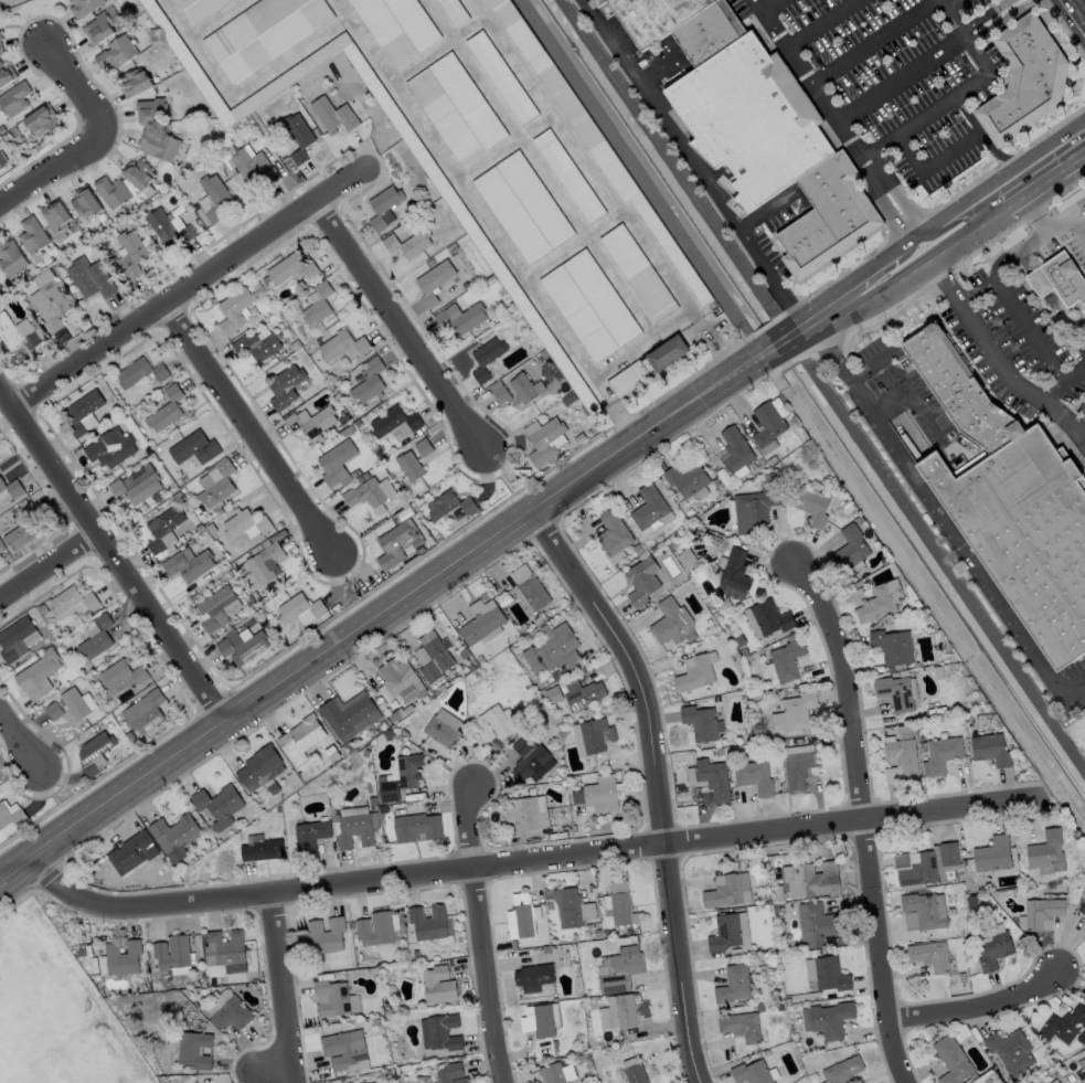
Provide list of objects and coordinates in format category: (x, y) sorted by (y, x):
road: (769, 3)
road: (951, 3)
building: (83, 6)
building: (198, 8)
building: (454, 10)
road: (1074, 13)
road: (980, 17)
road: (953, 19)
road: (1003, 20)
road: (819, 21)
building: (97, 25)
building: (397, 26)
building: (262, 33)
building: (0, 35)
building: (0, 39)
road: (873, 40)
building: (0, 47)
building: (116, 52)
building: (6, 74)
building: (340, 75)
building: (501, 75)
road: (810, 77)
road: (900, 77)
building: (134, 82)
building: (1023, 82)
road: (966, 83)
building: (15, 98)
building: (457, 107)
building: (150, 109)
building: (337, 114)
building: (41, 119)
road: (906, 124)
building: (753, 127)
building: (298, 136)
building: (593, 137)
road: (99, 139)
road: (1051, 141)
building: (158, 142)
road: (997, 150)
road: (692, 163)
building: (0, 166)
building: (254, 166)
road: (929, 167)
building: (137, 171)
road: (872, 171)
building: (567, 174)
building: (111, 191)
building: (212, 197)
road: (966, 200)
building: (84, 201)
building: (383, 206)
building: (522, 206)
road: (905, 206)
building: (457, 208)
building: (1084, 210)
road: (1035, 213)
building: (55, 214)
road: (1068, 214)
road: (892, 215)
road: (959, 217)
road: (1077, 224)
building: (168, 227)
building: (32, 234)
building: (408, 242)
road: (948, 246)
building: (131, 253)
building: (10, 256)
road: (1003, 259)
road: (879, 261)
building: (291, 267)
building: (638, 272)
road: (879, 274)
building: (91, 277)
road: (946, 279)
building: (1060, 279)
building: (434, 282)
road: (192, 288)
road: (1045, 294)
building: (317, 305)
building: (591, 305)
road: (823, 307)
building: (51, 309)
building: (234, 309)
building: (460, 317)
road: (404, 328)
road: (1031, 329)
road: (799, 331)
building: (17, 332)
building: (256, 342)
building: (342, 346)
road: (774, 349)
building: (486, 358)
road: (868, 361)
building: (648, 364)
building: (140, 372)
building: (370, 379)
road: (1017, 384)
road: (1062, 384)
building: (287, 385)
building: (523, 386)
building: (499, 391)
road: (906, 393)
building: (570, 399)
building: (166, 410)
building: (83, 412)
building: (310, 421)
building: (395, 423)
building: (770, 423)
road: (1076, 429)
road: (258, 433)
building: (579, 437)
building: (544, 439)
building: (423, 444)
building: (109, 446)
building: (193, 447)
building: (735, 449)
building: (336, 461)
building: (408, 467)
building: (688, 479)
building: (216, 482)
building: (136, 484)
road: (509, 484)
building: (10, 490)
building: (371, 493)
building: (813, 502)
building: (1008, 503)
building: (449, 505)
building: (650, 508)
building: (753, 508)
road: (944, 520)
building: (245, 524)
building: (25, 529)
building: (162, 530)
building: (614, 535)
building: (397, 542)
building: (852, 548)
road: (113, 553)
building: (188, 563)
building: (262, 564)
road: (50, 569)
building: (735, 573)
building: (642, 580)
road: (360, 588)
building: (529, 591)
building: (881, 602)
building: (73, 603)
building: (217, 608)
building: (299, 609)
road: (373, 617)
building: (772, 617)
building: (669, 619)
building: (482, 622)
building: (14, 638)
building: (97, 638)
building: (243, 643)
building: (896, 647)
building: (552, 649)
building: (461, 655)
building: (433, 656)
building: (788, 659)
building: (696, 671)
building: (39, 673)
building: (123, 676)
building: (401, 679)
building: (898, 692)
building: (586, 696)
building: (77, 703)
building: (54, 711)
building: (145, 712)
building: (796, 712)
building: (349, 714)
building: (494, 723)
building: (702, 723)
building: (444, 729)
building: (905, 732)
building: (594, 736)
building: (301, 740)
road: (21, 742)
building: (924, 746)
building: (990, 746)
building: (95, 753)
building: (331, 753)
building: (943, 755)
building: (531, 760)
building: (903, 762)
building: (259, 766)
building: (800, 771)
building: (755, 777)
building: (398, 778)
building: (712, 778)
road: (657, 779)
building: (599, 794)
road: (60, 799)
building: (219, 805)
building: (528, 813)
road: (861, 816)
building: (11, 817)
building: (416, 827)
building: (353, 829)
building: (310, 836)
building: (174, 837)
building: (260, 849)
building: (1049, 851)
building: (129, 852)
building: (992, 854)
road: (524, 861)
building: (927, 862)
building: (811, 878)
building: (727, 890)
building: (777, 893)
building: (1075, 893)
building: (618, 904)
building: (571, 906)
building: (1083, 907)
building: (924, 911)
building: (1043, 912)
building: (519, 916)
building: (817, 923)
building: (429, 924)
building: (375, 928)
building: (730, 934)
building: (321, 935)
road: (479, 935)
building: (1084, 937)
building: (223, 947)
building: (994, 949)
building: (171, 954)
building: (929, 954)
building: (120, 956)
building: (618, 969)
building: (826, 974)
building: (532, 976)
building: (733, 984)
building: (437, 985)
road: (279, 989)
building: (333, 1000)
road: (981, 1005)
building: (626, 1010)
building: (231, 1013)
building: (540, 1019)
building: (827, 1019)
building: (1064, 1024)
building: (742, 1026)
building: (439, 1032)
building: (342, 1049)
building: (194, 1050)
building: (1010, 1051)
building: (951, 1060)
building: (842, 1070)
building: (752, 1072)
building: (449, 1073)
building: (552, 1073)
building: (635, 1073)
building: (1081, 1074)
building: (1054, 1081)
building: (373, 1082)

